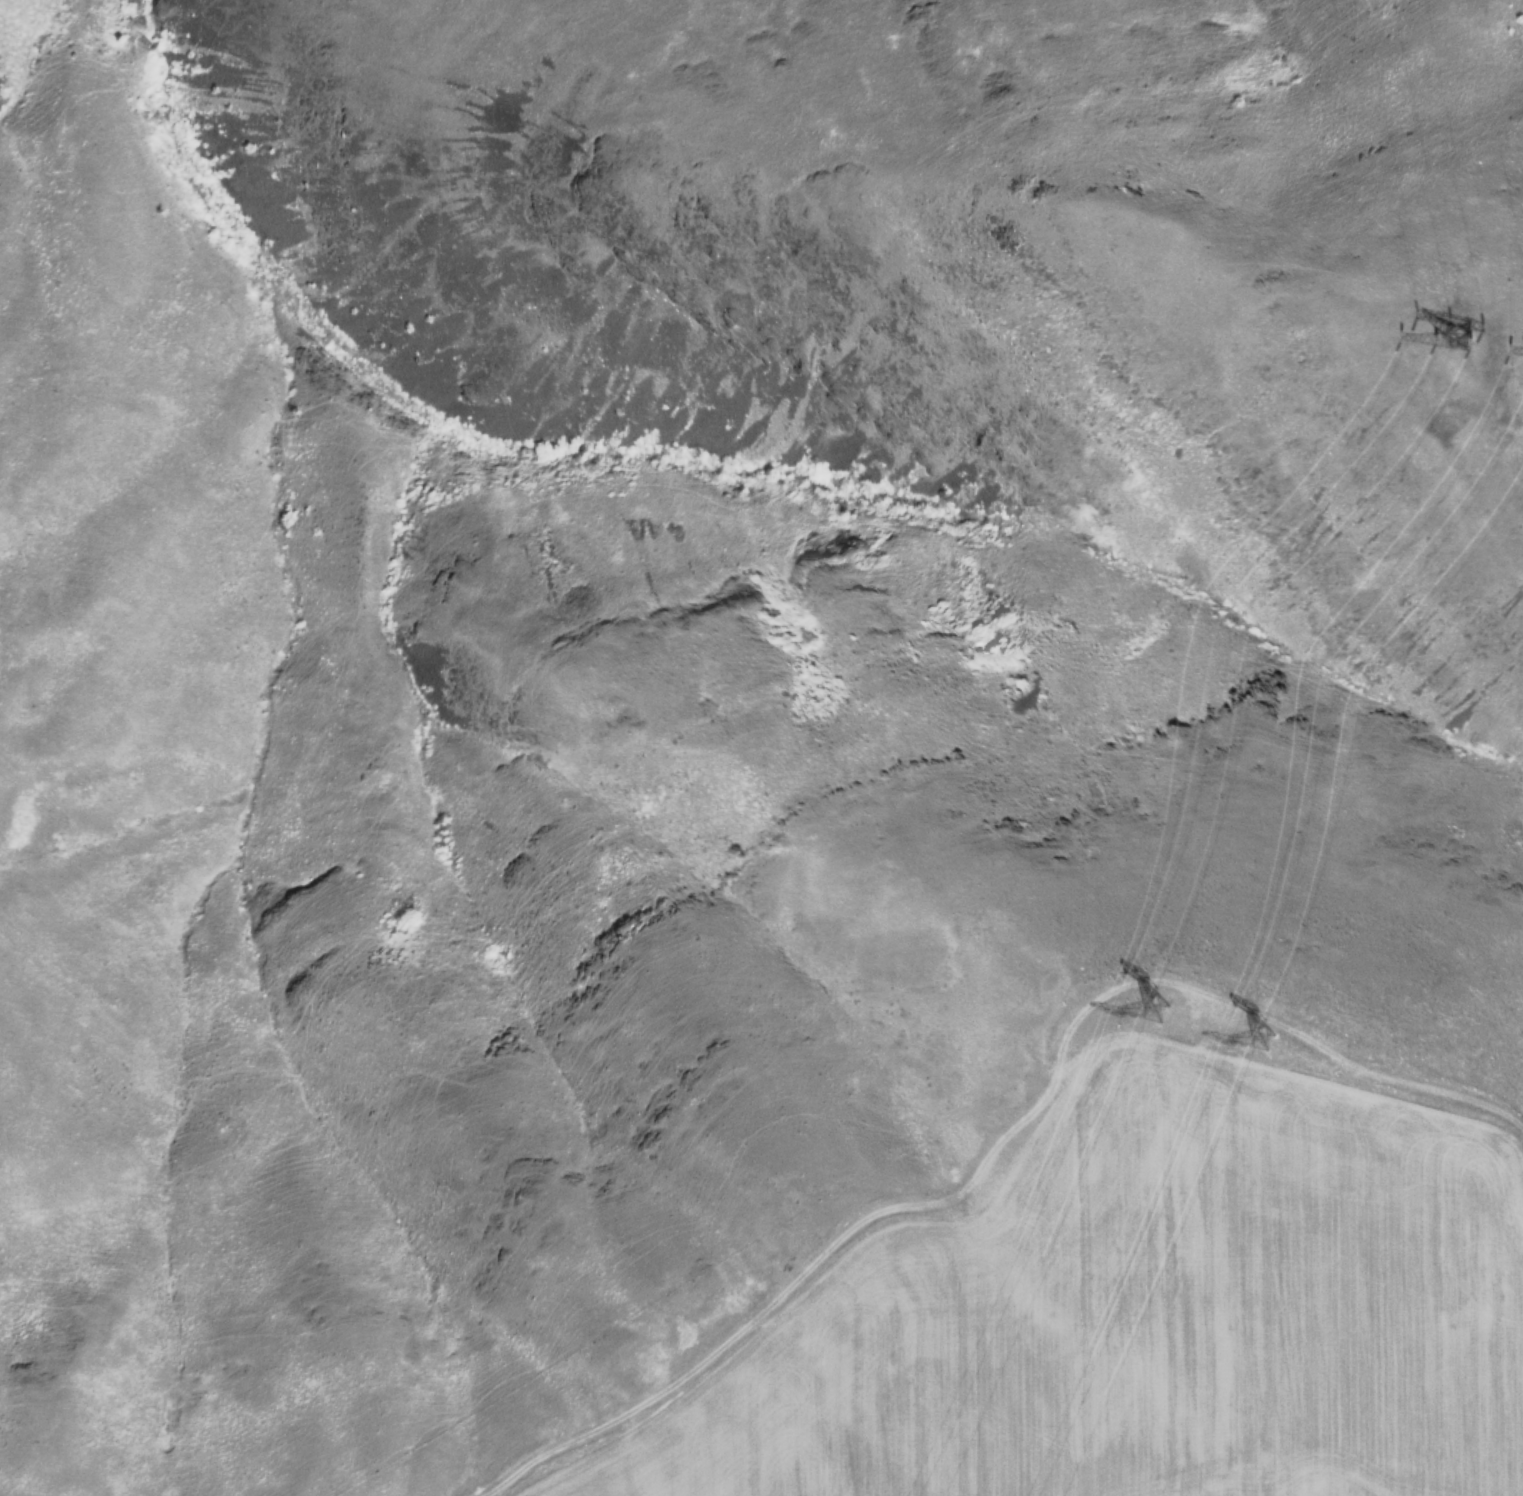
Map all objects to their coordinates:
power tower: (1469, 349)
power tower: (1172, 1004)
power tower: (1278, 1050)

